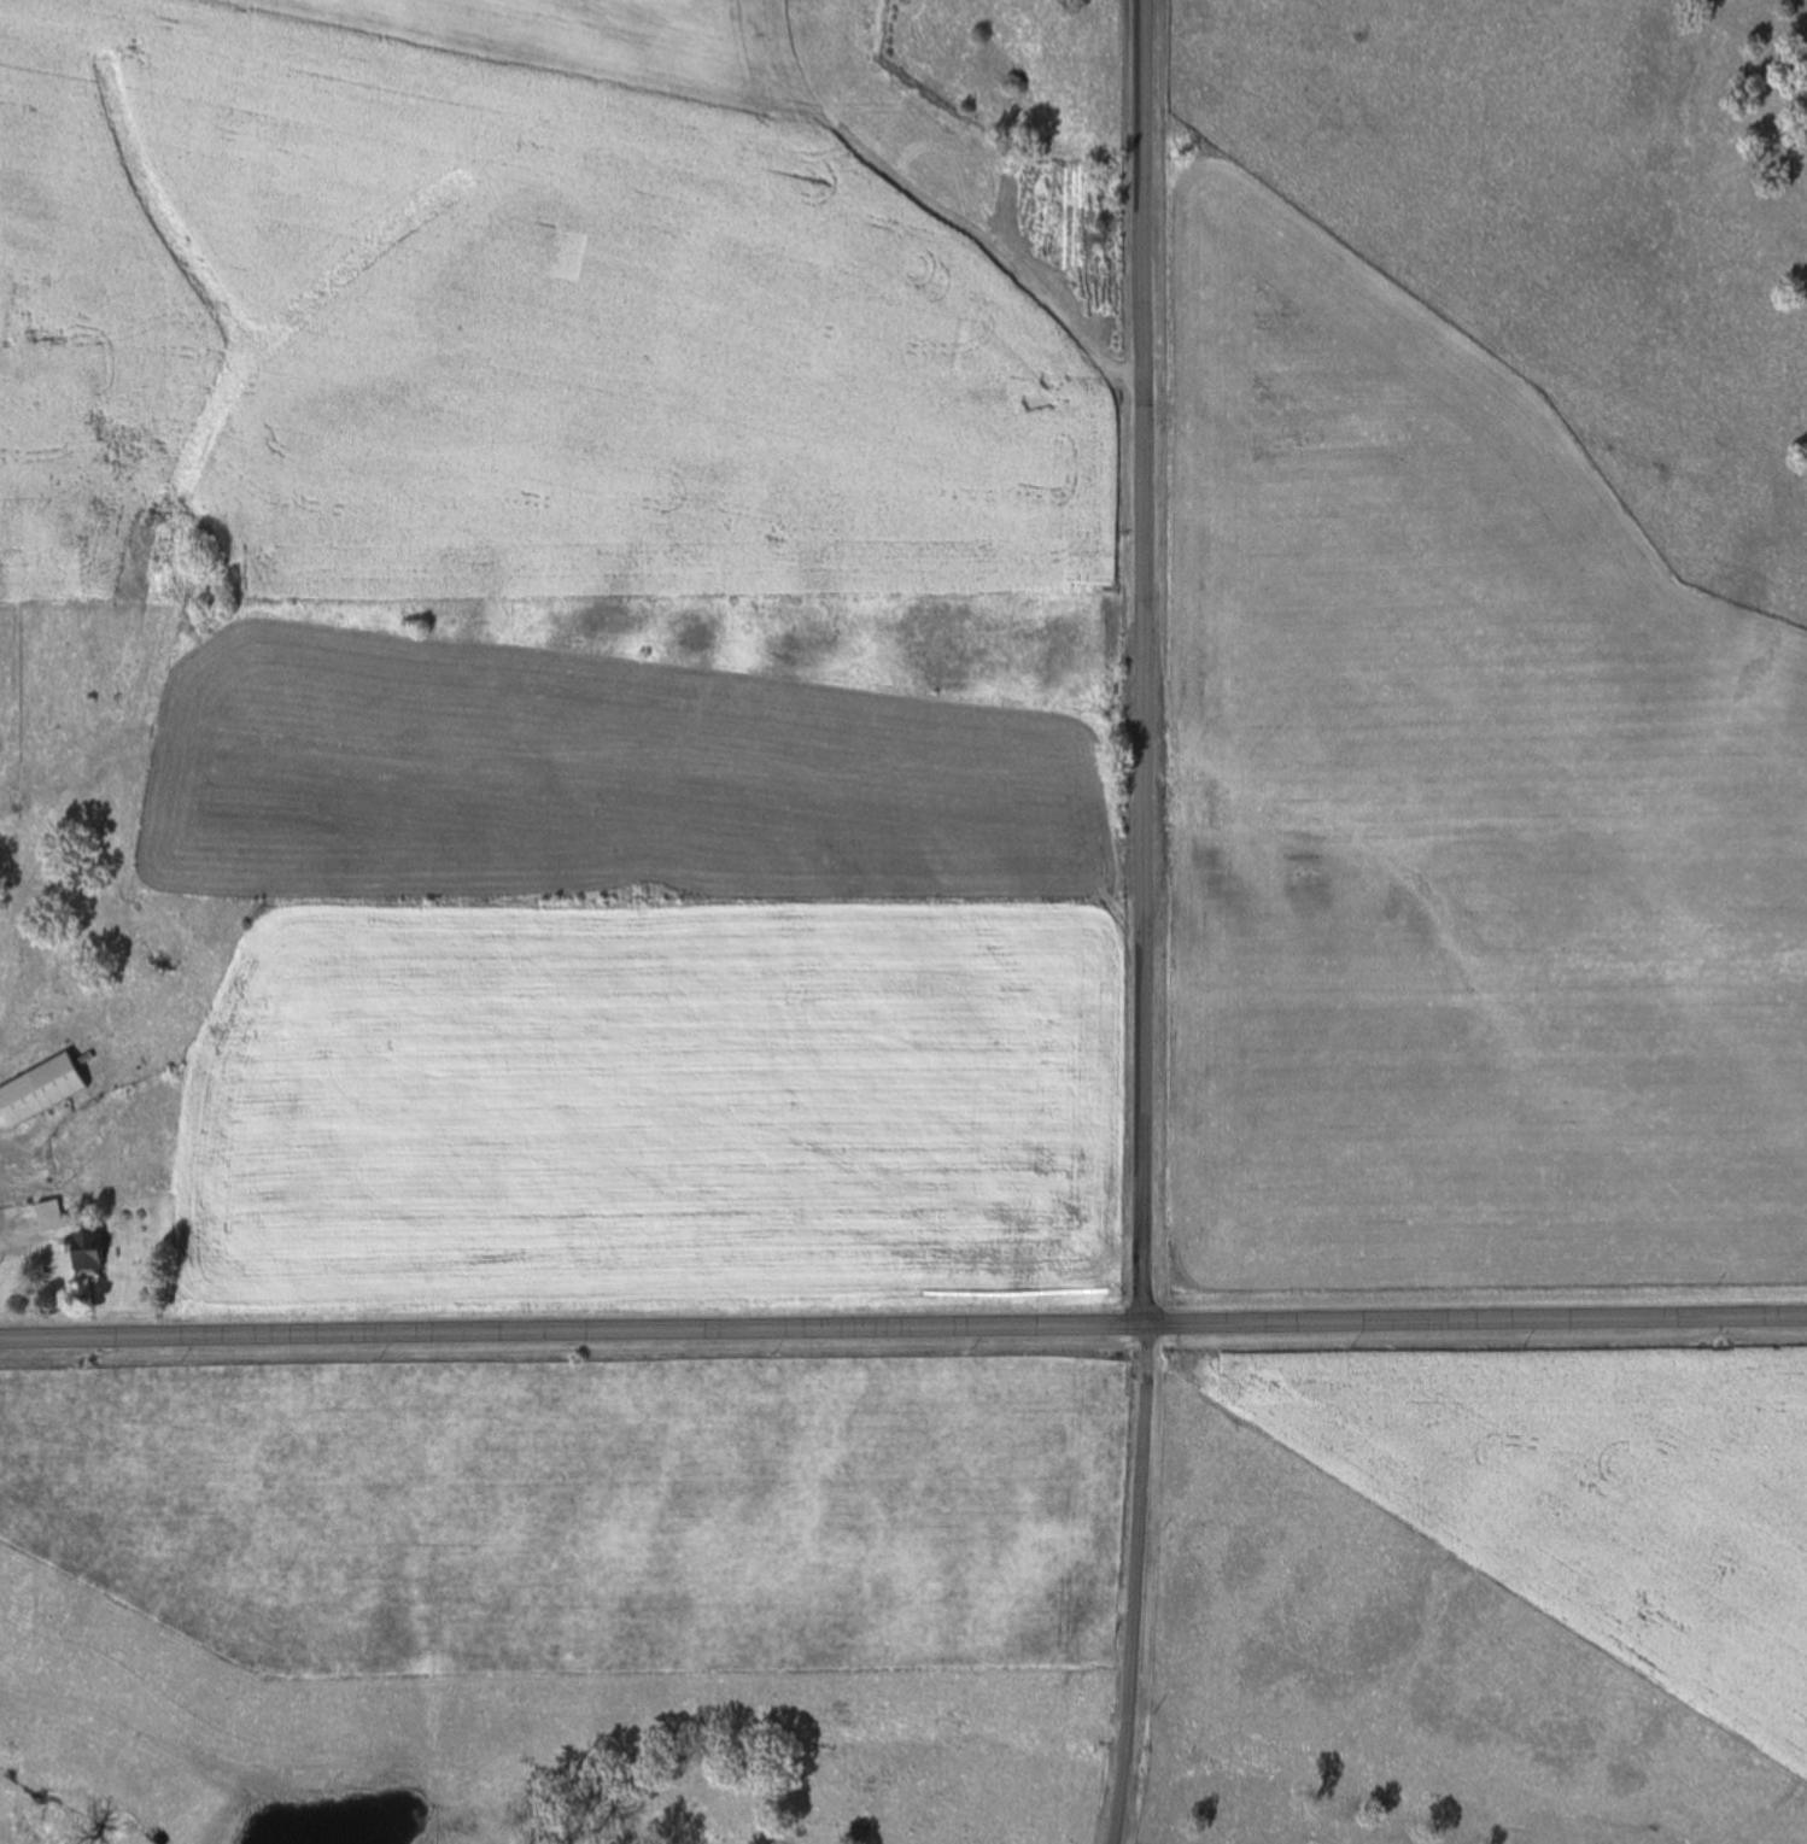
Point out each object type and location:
building: (23, 294)
road: (1141, 662)
building: (39, 1091)
building: (49, 1218)
building: (87, 1254)
road: (902, 1328)
road: (1130, 1585)

